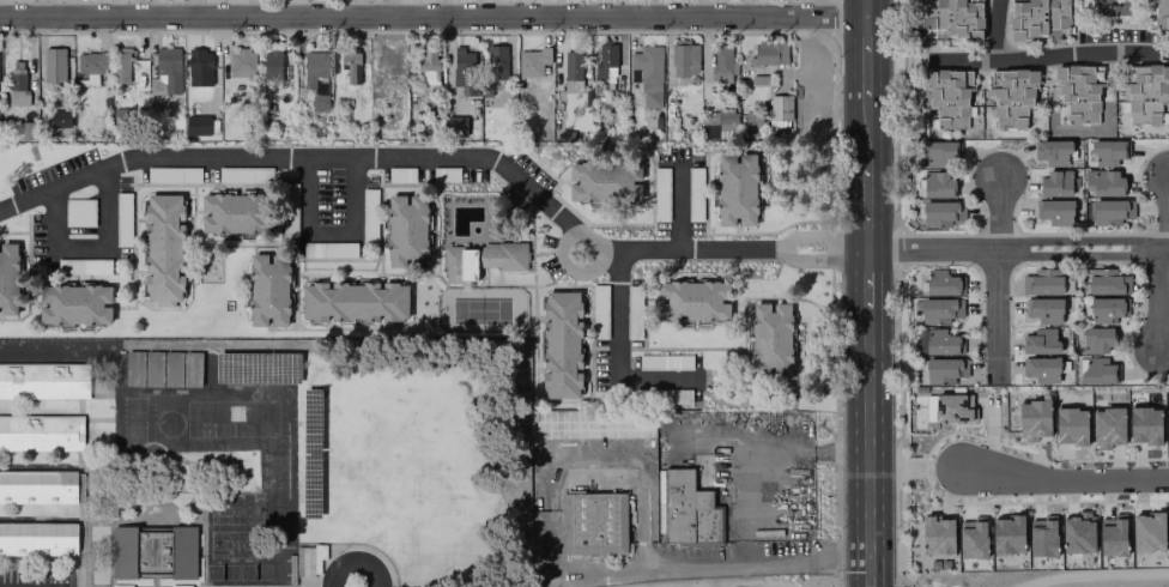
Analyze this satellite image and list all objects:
road: (703, 7)
road: (866, 7)
building: (1161, 13)
road: (432, 16)
building: (1037, 18)
building: (952, 19)
road: (997, 30)
building: (769, 53)
building: (684, 58)
road: (1047, 58)
building: (605, 59)
building: (495, 61)
building: (532, 61)
building: (242, 62)
building: (54, 63)
building: (721, 63)
building: (90, 65)
building: (120, 65)
building: (199, 66)
building: (272, 66)
building: (350, 67)
building: (428, 68)
building: (464, 69)
road: (866, 69)
building: (165, 71)
building: (571, 71)
building: (648, 73)
building: (316, 78)
building: (17, 84)
building: (1079, 90)
building: (1146, 95)
building: (1012, 97)
building: (946, 99)
building: (780, 107)
building: (60, 117)
building: (726, 121)
building: (753, 122)
building: (196, 125)
building: (455, 125)
building: (1107, 151)
building: (1052, 152)
building: (938, 153)
road: (400, 157)
parking lot: (531, 169)
building: (172, 174)
building: (244, 174)
building: (400, 174)
building: (444, 174)
building: (605, 181)
building: (1103, 182)
building: (937, 183)
building: (1054, 183)
building: (695, 187)
road: (866, 188)
building: (737, 189)
building: (660, 190)
parking lot: (679, 193)
parking lot: (515, 198)
parking lot: (73, 199)
road: (683, 201)
building: (289, 204)
building: (368, 205)
building: (1054, 211)
building: (1110, 211)
building: (79, 212)
building: (941, 212)
building: (236, 213)
building: (407, 232)
road: (332, 234)
road: (819, 237)
road: (91, 246)
building: (164, 247)
building: (328, 248)
road: (1017, 249)
building: (489, 256)
building: (511, 256)
parking lot: (549, 256)
road: (820, 259)
building: (460, 264)
building: (89, 265)
road: (999, 276)
building: (8, 279)
building: (1046, 282)
building: (1107, 282)
building: (943, 283)
road: (867, 284)
building: (269, 291)
building: (355, 301)
building: (693, 302)
road: (1162, 303)
building: (75, 304)
building: (599, 307)
building: (939, 309)
building: (1043, 309)
building: (1106, 309)
park: (480, 310)
building: (771, 338)
building: (1096, 340)
building: (937, 341)
building: (1040, 341)
building: (563, 345)
road: (619, 356)
parking lot: (635, 357)
building: (665, 362)
building: (133, 368)
building: (1041, 369)
building: (944, 370)
building: (1096, 370)
building: (43, 380)
building: (928, 407)
building: (952, 407)
building: (1032, 418)
building: (1144, 423)
building: (1070, 424)
building: (1107, 425)
building: (1167, 425)
building: (41, 431)
building: (647, 440)
road: (867, 452)
road: (626, 458)
road: (755, 458)
road: (1070, 478)
building: (41, 486)
building: (688, 509)
building: (594, 522)
building: (1147, 531)
building: (1007, 533)
building: (937, 534)
building: (1077, 534)
building: (1113, 537)
building: (37, 538)
building: (1042, 538)
building: (973, 540)
building: (152, 551)
road: (355, 557)
road: (680, 570)
building: (121, 586)
building: (180, 586)

